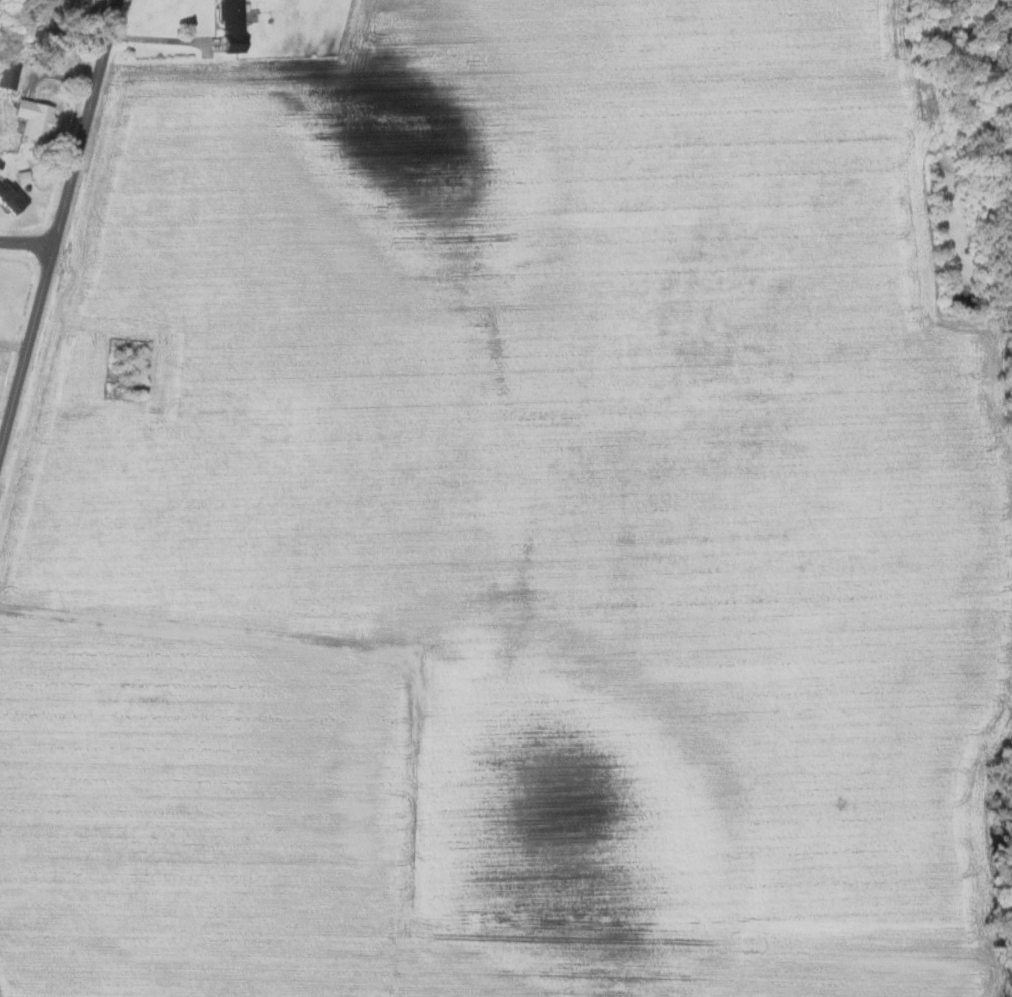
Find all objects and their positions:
building: (230, 26)
road: (163, 39)
building: (7, 74)
building: (32, 118)
building: (10, 196)
road: (57, 225)
road: (25, 248)

